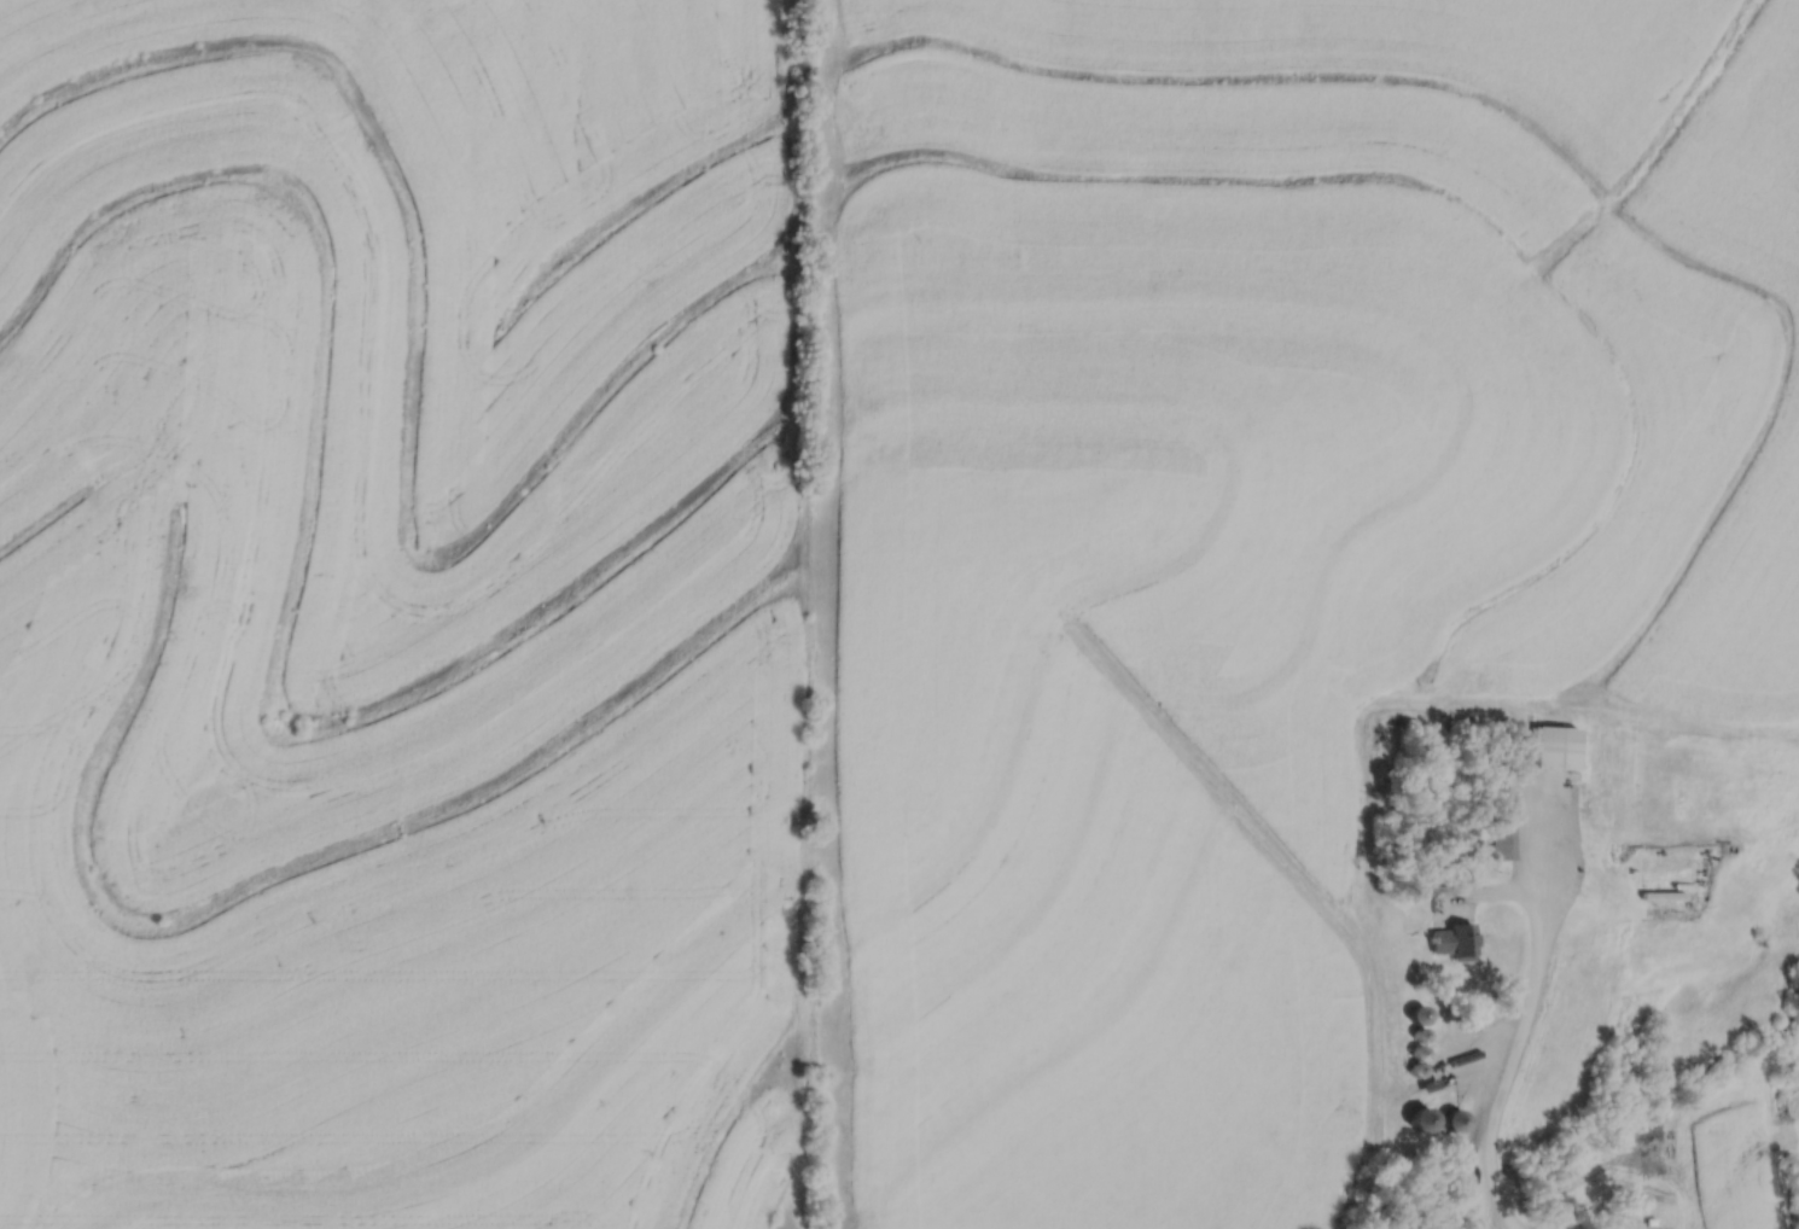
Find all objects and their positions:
building: (1554, 749)
building: (1501, 816)
building: (1450, 942)
building: (1416, 1015)
road: (1512, 1043)
building: (1419, 1118)
building: (1452, 1119)

